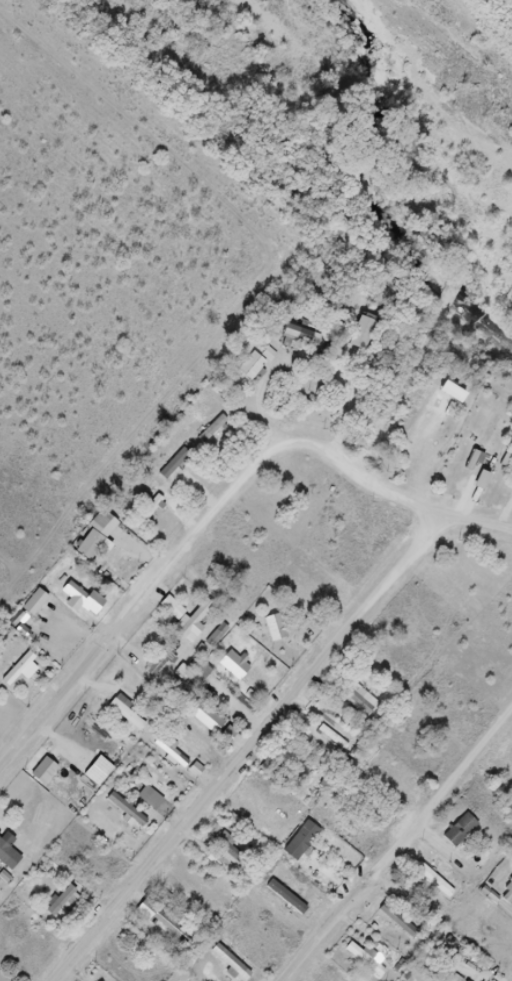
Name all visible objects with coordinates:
river: (387, 195)
building: (453, 291)
building: (300, 334)
building: (254, 366)
building: (213, 429)
building: (175, 463)
building: (153, 508)
road: (219, 509)
building: (95, 539)
building: (81, 601)
building: (278, 628)
building: (197, 629)
building: (163, 661)
building: (237, 666)
building: (22, 669)
building: (361, 700)
building: (129, 713)
building: (211, 720)
road: (252, 746)
building: (370, 760)
building: (153, 799)
building: (463, 830)
road: (401, 847)
building: (229, 849)
building: (9, 852)
building: (431, 884)
building: (194, 899)
building: (63, 901)
building: (400, 922)
building: (170, 925)
building: (367, 961)
building: (234, 963)

